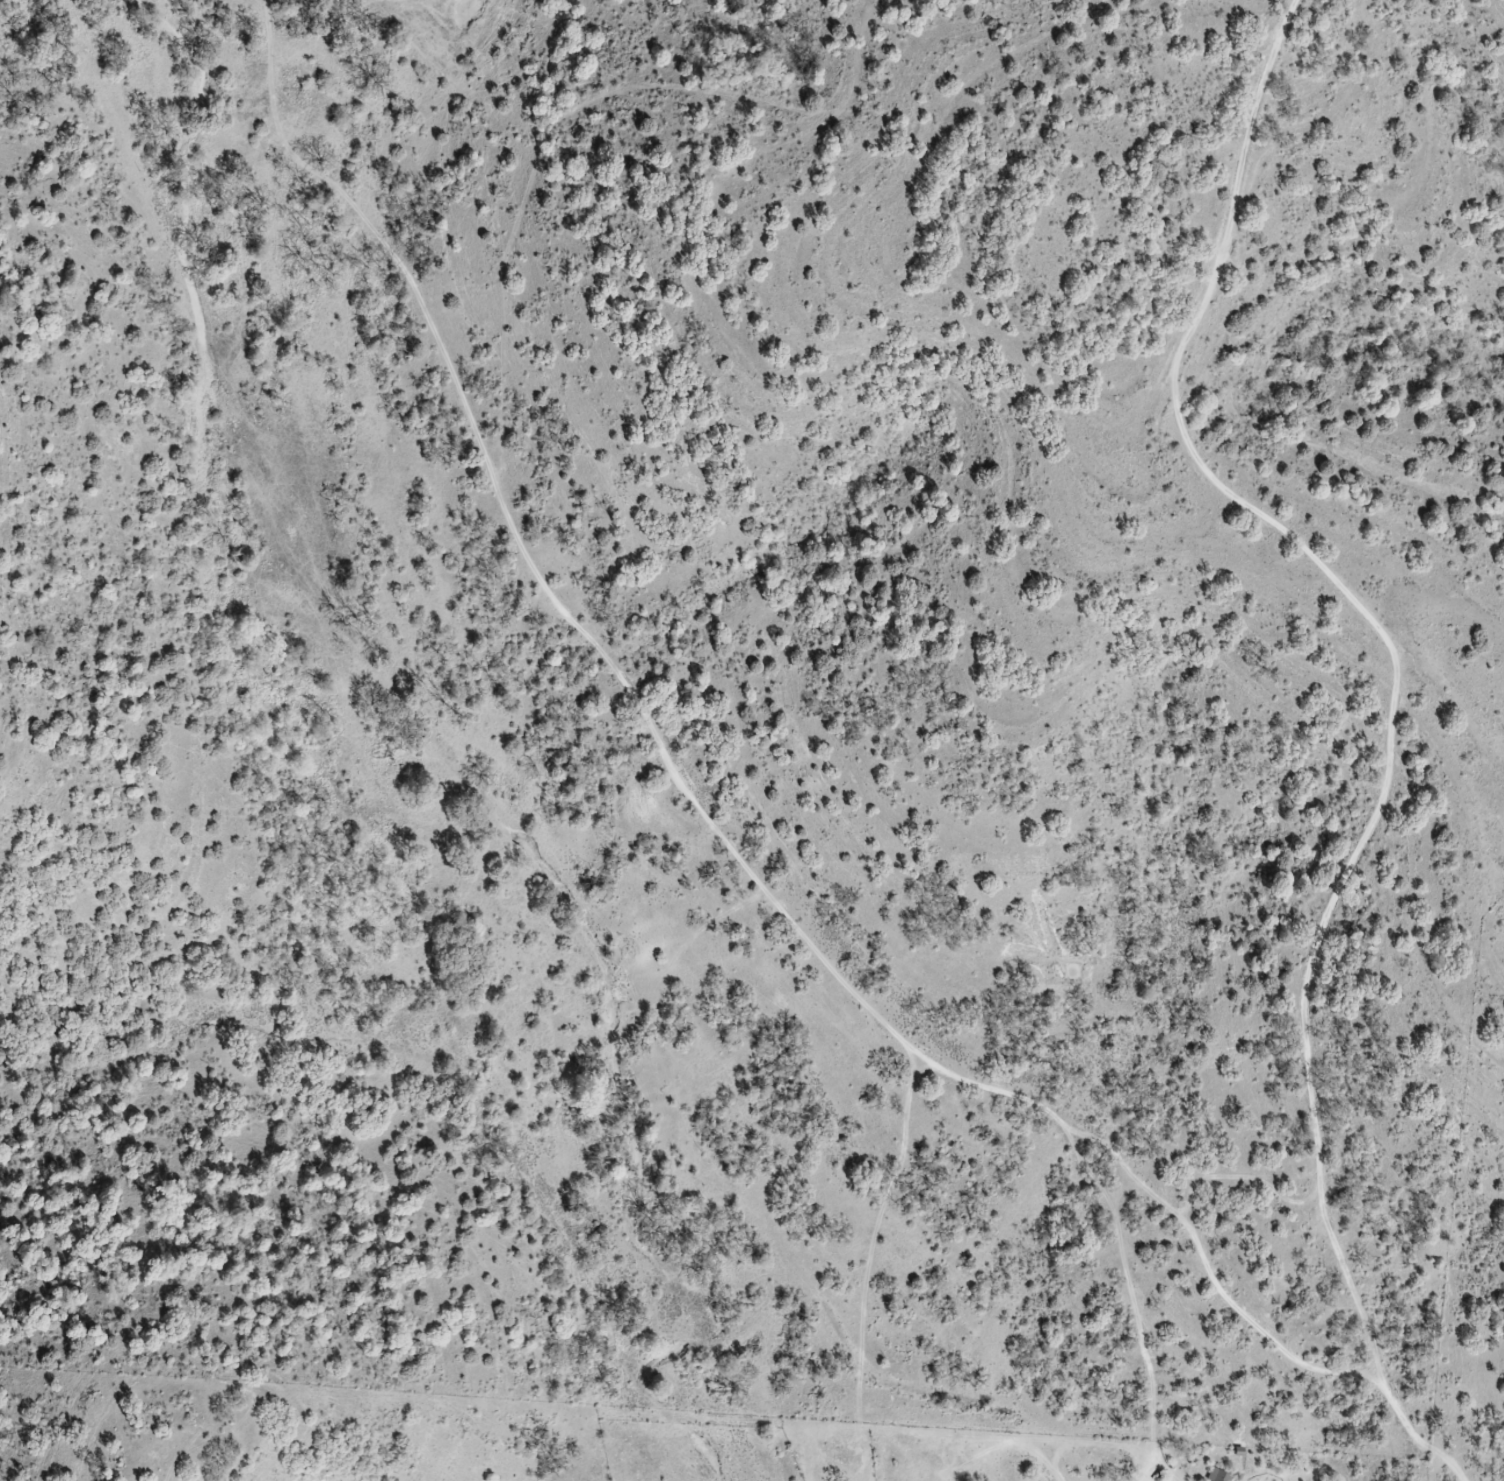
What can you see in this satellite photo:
road: (1159, 1474)
building: (1216, 1475)

